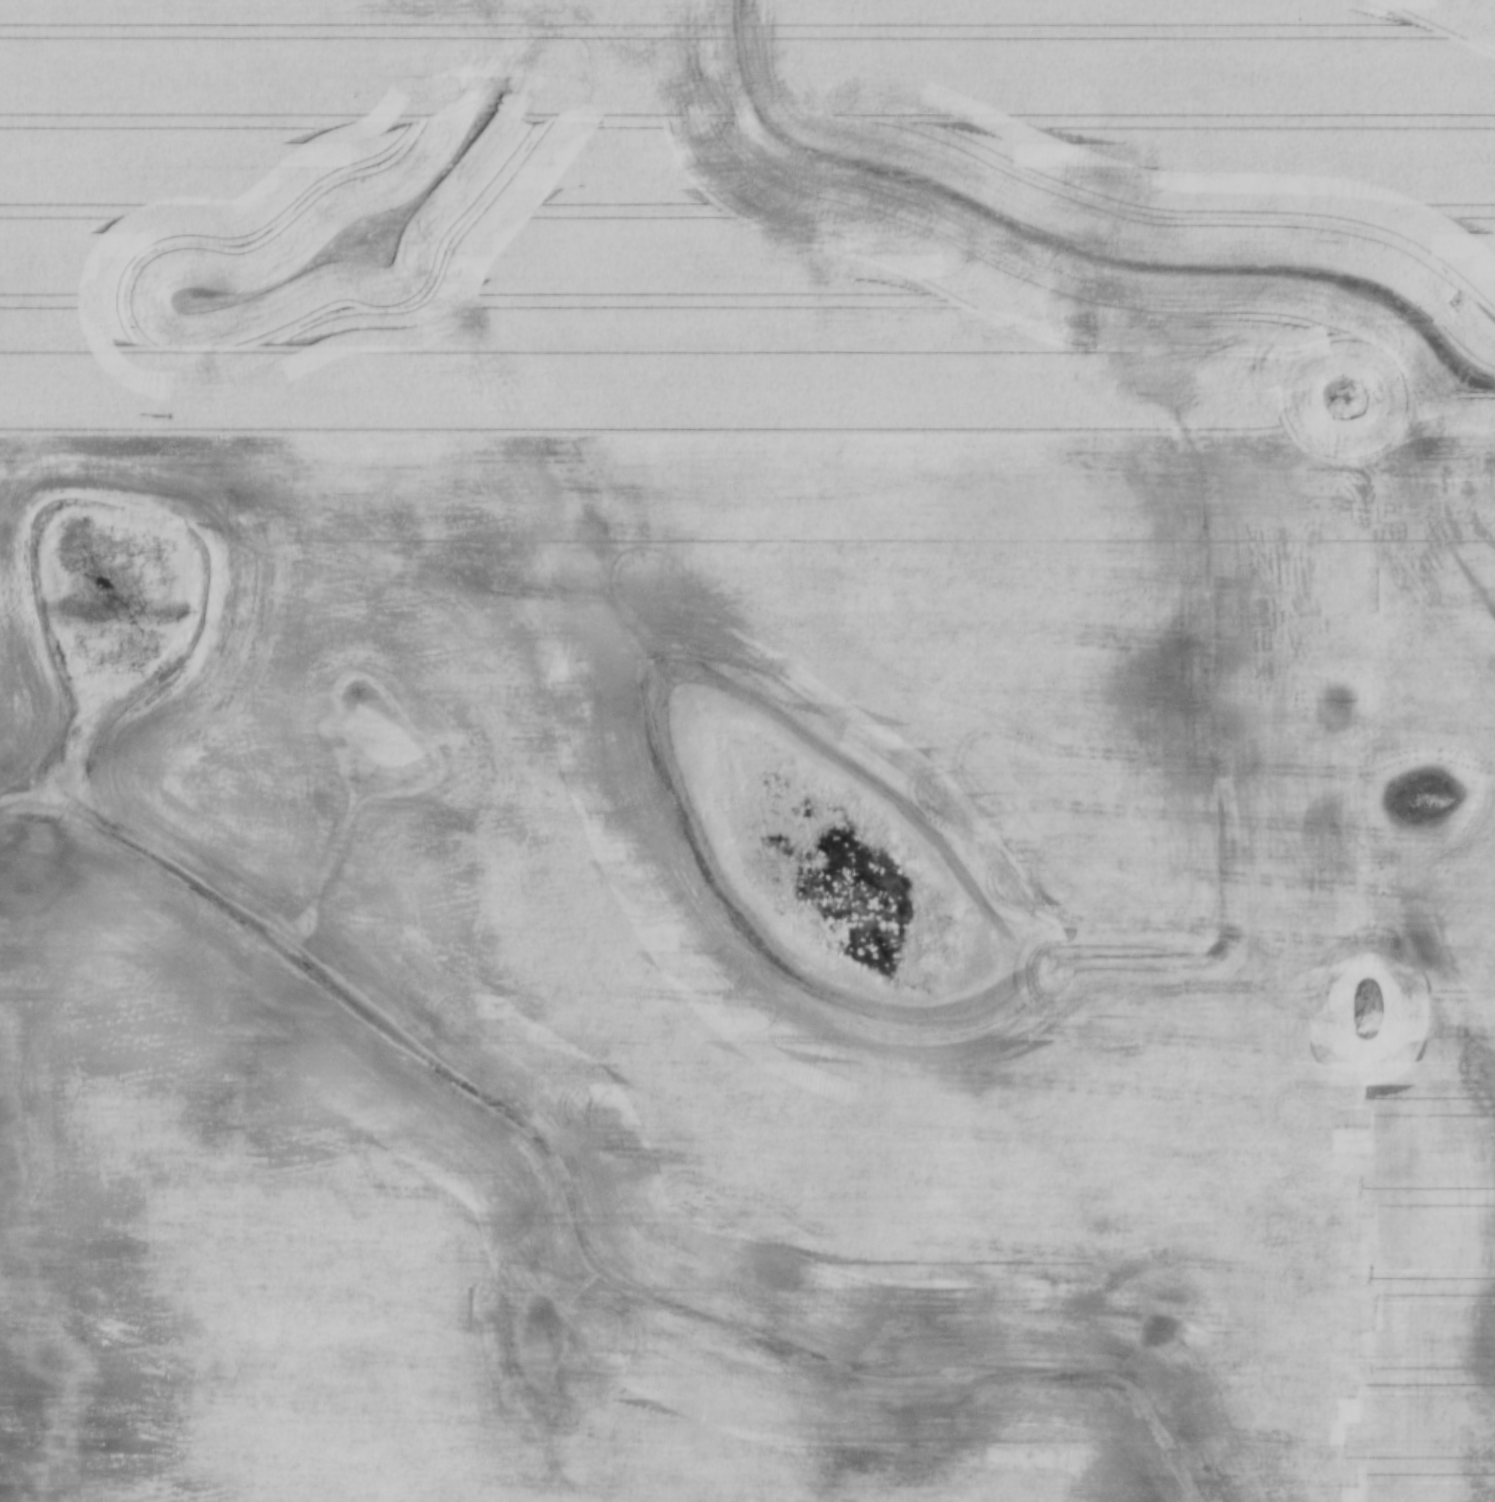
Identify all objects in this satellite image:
road: (1367, 752)

